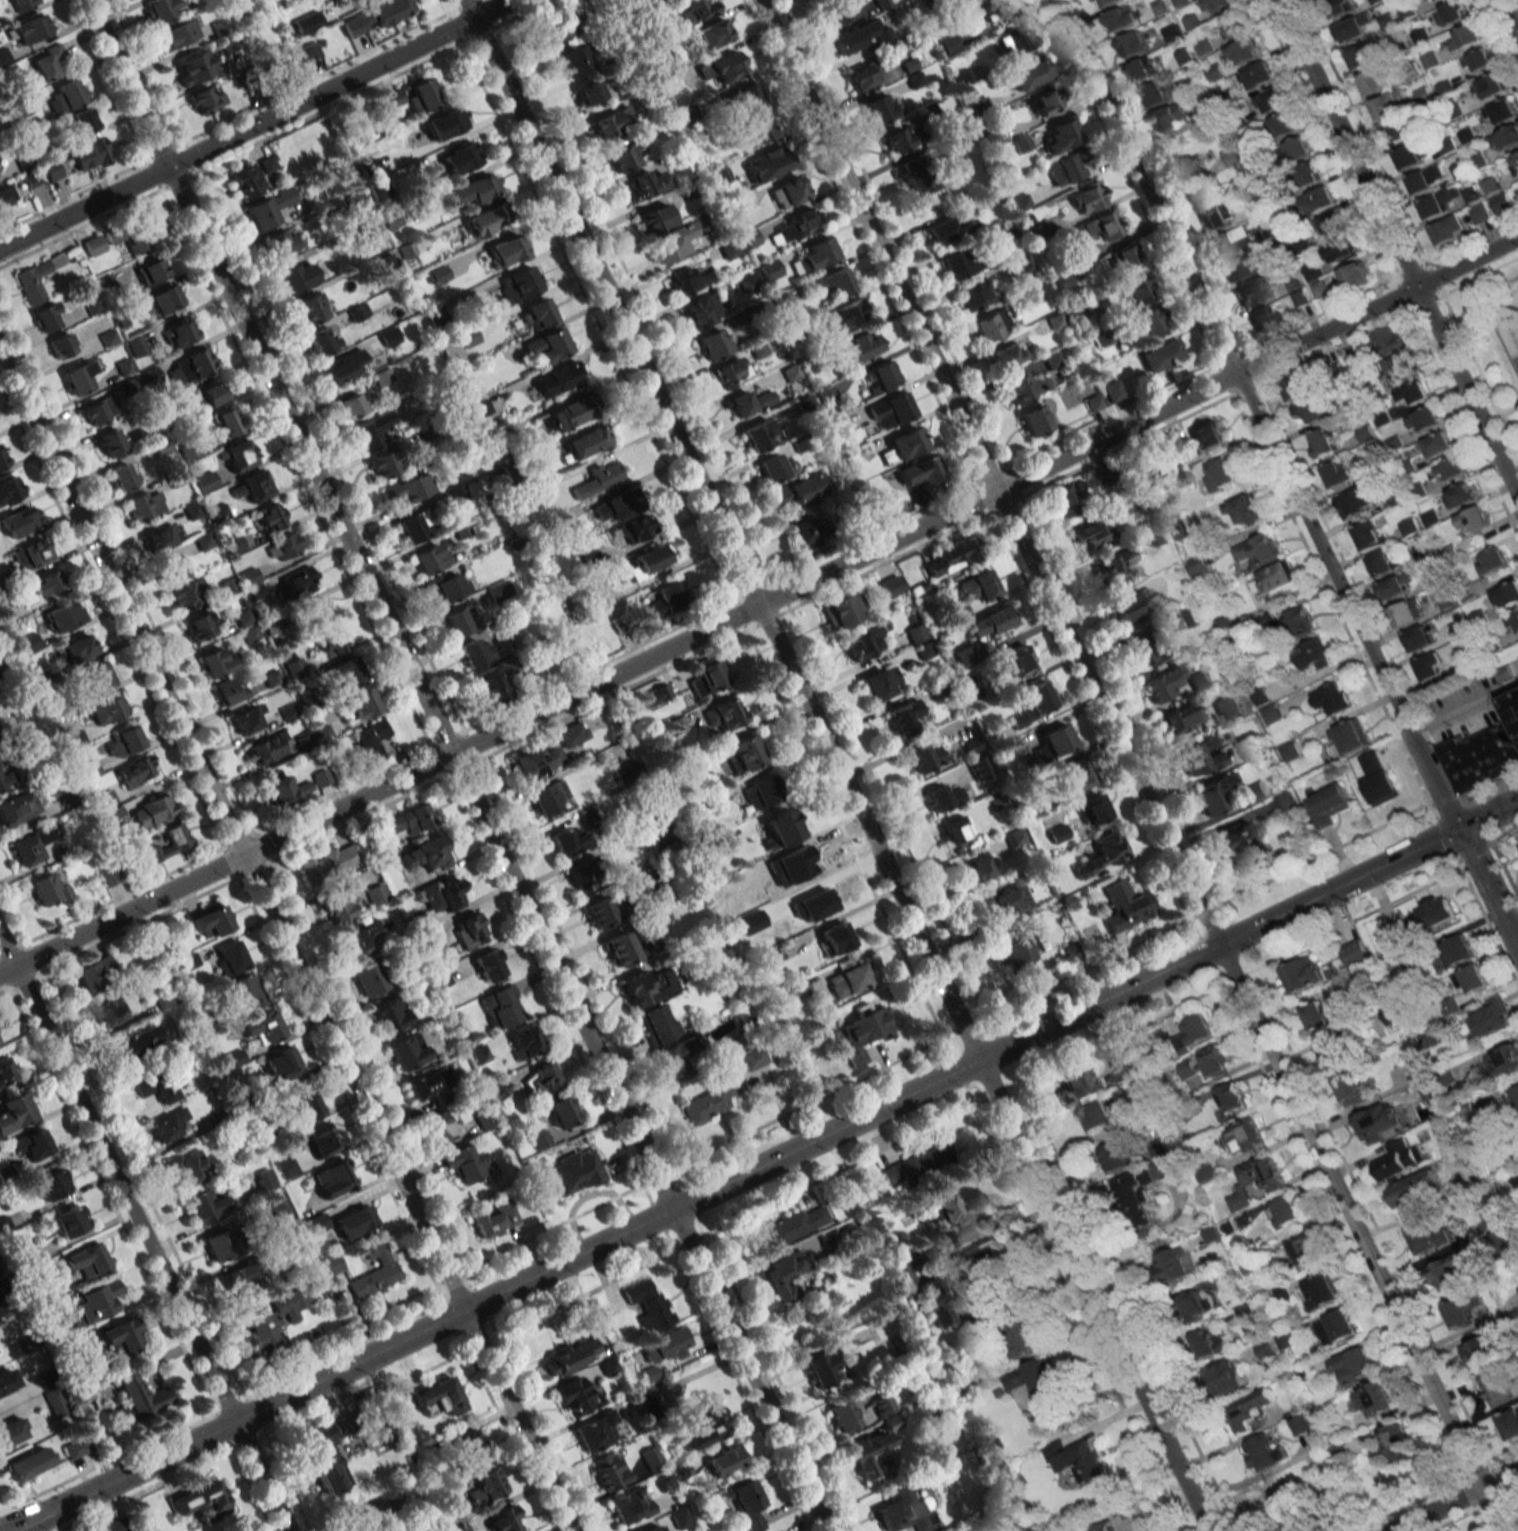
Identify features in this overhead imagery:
building: (1433, 1)
building: (1105, 2)
building: (1218, 4)
building: (15, 5)
building: (1339, 7)
building: (338, 8)
building: (995, 9)
building: (160, 10)
building: (393, 10)
building: (694, 10)
building: (1451, 12)
road: (1509, 17)
building: (832, 18)
building: (1122, 18)
building: (558, 26)
building: (1235, 26)
building: (1353, 27)
building: (30, 29)
building: (176, 34)
building: (712, 34)
building: (861, 36)
building: (1464, 37)
building: (1017, 40)
building: (1132, 44)
building: (309, 51)
building: (1244, 51)
building: (1362, 56)
building: (1479, 60)
building: (576, 61)
building: (45, 63)
building: (196, 66)
building: (722, 68)
building: (1142, 69)
building: (1029, 74)
building: (863, 75)
building: (1258, 75)
building: (1374, 81)
building: (1489, 86)
building: (591, 90)
building: (1157, 93)
building: (64, 96)
building: (412, 96)
building: (747, 97)
building: (205, 100)
building: (1271, 100)
building: (1046, 101)
building: (1388, 104)
building: (881, 108)
building: (1502, 111)
building: (1169, 117)
building: (81, 121)
building: (613, 122)
building: (444, 123)
building: (1285, 123)
road: (254, 124)
building: (1397, 130)
building: (757, 132)
building: (1061, 135)
building: (1505, 139)
building: (898, 140)
road: (1346, 142)
building: (1021, 144)
building: (1298, 149)
building: (89, 154)
building: (1412, 155)
building: (465, 156)
building: (625, 157)
building: (773, 159)
building: (267, 163)
building: (1514, 163)
building: (1066, 167)
building: (1193, 167)
building: (1308, 174)
building: (722, 177)
building: (917, 179)
building: (1426, 179)
building: (245, 181)
building: (644, 184)
building: (473, 191)
building: (787, 191)
building: (6, 195)
building: (1087, 196)
building: (1317, 201)
building: (1437, 203)
building: (1501, 203)
building: (269, 208)
building: (1479, 213)
building: (1218, 217)
building: (655, 218)
building: (485, 219)
building: (1333, 223)
building: (797, 225)
building: (1096, 227)
building: (1448, 229)
building: (946, 230)
building: (1009, 230)
building: (129, 235)
building: (1234, 240)
building: (283, 242)
building: (672, 243)
building: (93, 245)
building: (730, 250)
building: (1340, 250)
building: (506, 251)
building: (815, 255)
building: (1124, 255)
building: (1023, 262)
building: (385, 263)
building: (958, 264)
building: (1240, 268)
building: (769, 269)
building: (151, 271)
building: (1313, 272)
building: (439, 274)
building: (1354, 275)
building: (297, 276)
building: (36, 278)
building: (686, 279)
building: (1064, 279)
building: (834, 282)
building: (747, 283)
building: (517, 284)
building: (1136, 290)
building: (1038, 291)
building: (1254, 292)
building: (975, 293)
building: (165, 301)
road: (1376, 303)
building: (309, 308)
building: (700, 310)
building: (537, 313)
building: (845, 314)
building: (46, 317)
building: (1267, 318)
building: (1152, 321)
building: (990, 325)
building: (180, 333)
building: (468, 337)
building: (1389, 341)
building: (323, 342)
building: (713, 343)
building: (60, 345)
building: (861, 345)
building: (136, 347)
building: (758, 350)
building: (1006, 355)
building: (1162, 355)
building: (1357, 362)
building: (194, 364)
building: (344, 366)
building: (1400, 371)
building: (731, 372)
building: (77, 377)
building: (880, 377)
building: (557, 379)
building: (1024, 386)
building: (1295, 387)
building: (1113, 391)
road: (1466, 391)
building: (1414, 392)
building: (212, 394)
building: (827, 396)
building: (747, 402)
building: (1093, 402)
building: (353, 405)
building: (483, 409)
building: (1313, 409)
building: (97, 411)
building: (889, 411)
building: (568, 413)
road: (1255, 414)
building: (1034, 420)
building: (1423, 420)
building: (227, 422)
building: (372, 430)
building: (758, 435)
building: (1208, 435)
building: (586, 442)
building: (1321, 442)
building: (109, 443)
building: (1436, 444)
building: (903, 445)
building: (189, 450)
building: (239, 455)
building: (386, 463)
building: (775, 468)
building: (1450, 469)
building: (921, 471)
building: (1337, 472)
building: (601, 475)
building: (1220, 475)
building: (123, 476)
building: (204, 481)
building: (253, 486)
building: (9, 488)
building: (407, 490)
building: (798, 491)
building: (1462, 494)
building: (1066, 499)
building: (142, 506)
building: (611, 509)
building: (1243, 510)
building: (192, 511)
building: (218, 513)
building: (270, 516)
building: (23, 519)
building: (1473, 519)
building: (413, 526)
building: (634, 530)
building: (802, 532)
building: (1089, 533)
building: (1369, 535)
building: (160, 538)
building: (204, 541)
building: (281, 547)
building: (1260, 550)
building: (32, 555)
building: (952, 556)
building: (431, 558)
building: (649, 560)
building: (1492, 561)
building: (1383, 562)
building: (1198, 565)
building: (168, 568)
building: (1112, 572)
building: (1273, 577)
building: (300, 582)
building: (47, 583)
building: (1397, 585)
building: (978, 586)
building: (446, 587)
building: (1506, 594)
building: (183, 596)
building: (667, 598)
building: (1446, 601)
building: (1131, 605)
building: (843, 609)
building: (314, 611)
building: (1409, 612)
building: (1192, 615)
building: (64, 616)
building: (1512, 619)
building: (458, 621)
building: (1300, 621)
building: (988, 623)
building: (199, 626)
building: (915, 633)
building: (1418, 638)
building: (330, 641)
building: (864, 642)
building: (31, 643)
building: (78, 648)
building: (1137, 650)
building: (475, 652)
building: (964, 655)
building: (1311, 655)
building: (216, 662)
building: (1013, 662)
building: (1430, 666)
building: (295, 668)
building: (344, 672)
road: (617, 673)
building: (100, 675)
building: (707, 678)
building: (1200, 680)
building: (492, 681)
building: (880, 682)
building: (1163, 683)
building: (228, 690)
building: (655, 695)
building: (1261, 695)
building: (1332, 697)
building: (362, 702)
building: (1033, 703)
road: (1463, 705)
building: (1226, 708)
building: (106, 709)
building: (725, 714)
building: (1271, 714)
building: (903, 717)
building: (1182, 718)
building: (246, 719)
building: (571, 734)
building: (1347, 737)
building: (76, 738)
building: (371, 739)
building: (123, 741)
building: (1053, 742)
building: (266, 748)
building: (1289, 751)
building: (1484, 751)
building: (743, 752)
building: (923, 756)
building: (1199, 759)
building: (535, 761)
road: (456, 765)
road: (835, 765)
road: (1129, 765)
building: (137, 772)
building: (629, 773)
building: (4, 775)
building: (1074, 775)
building: (1377, 777)
building: (281, 791)
building: (1215, 792)
building: (1254, 792)
building: (758, 793)
building: (942, 797)
building: (105, 798)
building: (547, 798)
building: (1327, 804)
building: (1039, 805)
building: (17, 808)
building: (153, 809)
building: (1094, 812)
road: (1487, 814)
building: (411, 819)
building: (780, 823)
building: (958, 833)
building: (1057, 834)
building: (1015, 836)
building: (568, 841)
building: (168, 844)
building: (1238, 844)
building: (31, 845)
building: (1102, 854)
building: (425, 855)
building: (803, 859)
building: (329, 862)
building: (978, 867)
road: (1502, 870)
building: (745, 877)
building: (579, 878)
road: (1488, 889)
building: (49, 890)
building: (375, 894)
building: (442, 894)
building: (1005, 902)
building: (809, 903)
building: (339, 905)
building: (1125, 905)
building: (600, 911)
building: (1436, 911)
building: (211, 922)
building: (468, 931)
road: (1514, 932)
building: (358, 935)
building: (833, 939)
road: (285, 942)
building: (619, 949)
building: (1016, 949)
building: (1456, 950)
building: (1355, 952)
building: (230, 957)
building: (489, 967)
building: (96, 974)
building: (1303, 974)
building: (368, 977)
building: (847, 977)
building: (1471, 978)
building: (647, 986)
building: (245, 990)
building: (798, 990)
building: (501, 1007)
building: (115, 1008)
building: (1320, 1013)
building: (389, 1014)
building: (1491, 1017)
building: (657, 1024)
building: (261, 1026)
building: (1196, 1029)
building: (864, 1032)
building: (137, 1042)
building: (523, 1042)
building: (407, 1050)
building: (1331, 1052)
building: (674, 1057)
building: (752, 1059)
building: (1212, 1059)
building: (1504, 1061)
building: (282, 1063)
building: (1186, 1069)
building: (6, 1072)
building: (541, 1080)
building: (162, 1084)
building: (1076, 1086)
building: (427, 1087)
building: (1427, 1088)
building: (1348, 1089)
building: (1516, 1094)
building: (1231, 1097)
building: (714, 1099)
building: (308, 1106)
building: (15, 1112)
building: (561, 1113)
building: (1096, 1115)
building: (482, 1119)
building: (1374, 1123)
building: (167, 1125)
building: (439, 1127)
building: (1244, 1136)
building: (320, 1139)
building: (32, 1144)
building: (1117, 1157)
building: (1397, 1159)
building: (464, 1164)
building: (916, 1164)
building: (189, 1165)
building: (1169, 1167)
building: (287, 1168)
road: (755, 1168)
building: (575, 1171)
building: (333, 1179)
building: (264, 1180)
building: (1274, 1183)
building: (52, 1184)
building: (1415, 1188)
building: (1138, 1197)
building: (206, 1205)
building: (278, 1205)
building: (1287, 1209)
building: (959, 1217)
building: (494, 1219)
building: (69, 1221)
building: (354, 1222)
building: (315, 1223)
building: (796, 1224)
road: (144, 1233)
road: (989, 1234)
building: (1430, 1235)
building: (219, 1245)
building: (1303, 1251)
building: (87, 1261)
building: (332, 1264)
building: (1171, 1266)
building: (1445, 1271)
building: (375, 1272)
building: (900, 1272)
building: (782, 1277)
building: (240, 1280)
building: (1320, 1291)
building: (939, 1300)
building: (94, 1302)
building: (1195, 1305)
building: (651, 1306)
building: (1467, 1307)
building: (276, 1318)
building: (1336, 1328)
building: (1026, 1336)
building: (121, 1337)
building: (1210, 1341)
building: (663, 1346)
building: (1483, 1347)
building: (569, 1357)
building: (1354, 1366)
building: (822, 1369)
building: (1228, 1377)
building: (1033, 1378)
building: (7, 1380)
building: (1498, 1387)
building: (576, 1396)
building: (140, 1397)
building: (438, 1397)
building: (1373, 1398)
building: (55, 1402)
building: (882, 1404)
building: (1250, 1410)
building: (845, 1413)
building: (1509, 1423)
building: (1299, 1424)
building: (706, 1427)
building: (12, 1431)
building: (596, 1432)
building: (1396, 1442)
building: (469, 1448)
building: (73, 1449)
building: (871, 1449)
building: (1264, 1453)
building: (328, 1457)
building: (1076, 1457)
building: (651, 1459)
building: (723, 1460)
building: (28, 1464)
building: (608, 1470)
building: (486, 1485)
road: (1454, 1500)
building: (447, 1501)
building: (202, 1502)
building: (747, 1504)
building: (629, 1505)
building: (905, 1511)
building: (680, 1518)
road: (32, 1519)
building: (504, 1519)
building: (1294, 1522)
building: (116, 1527)
building: (654, 1528)
building: (1113, 1530)

